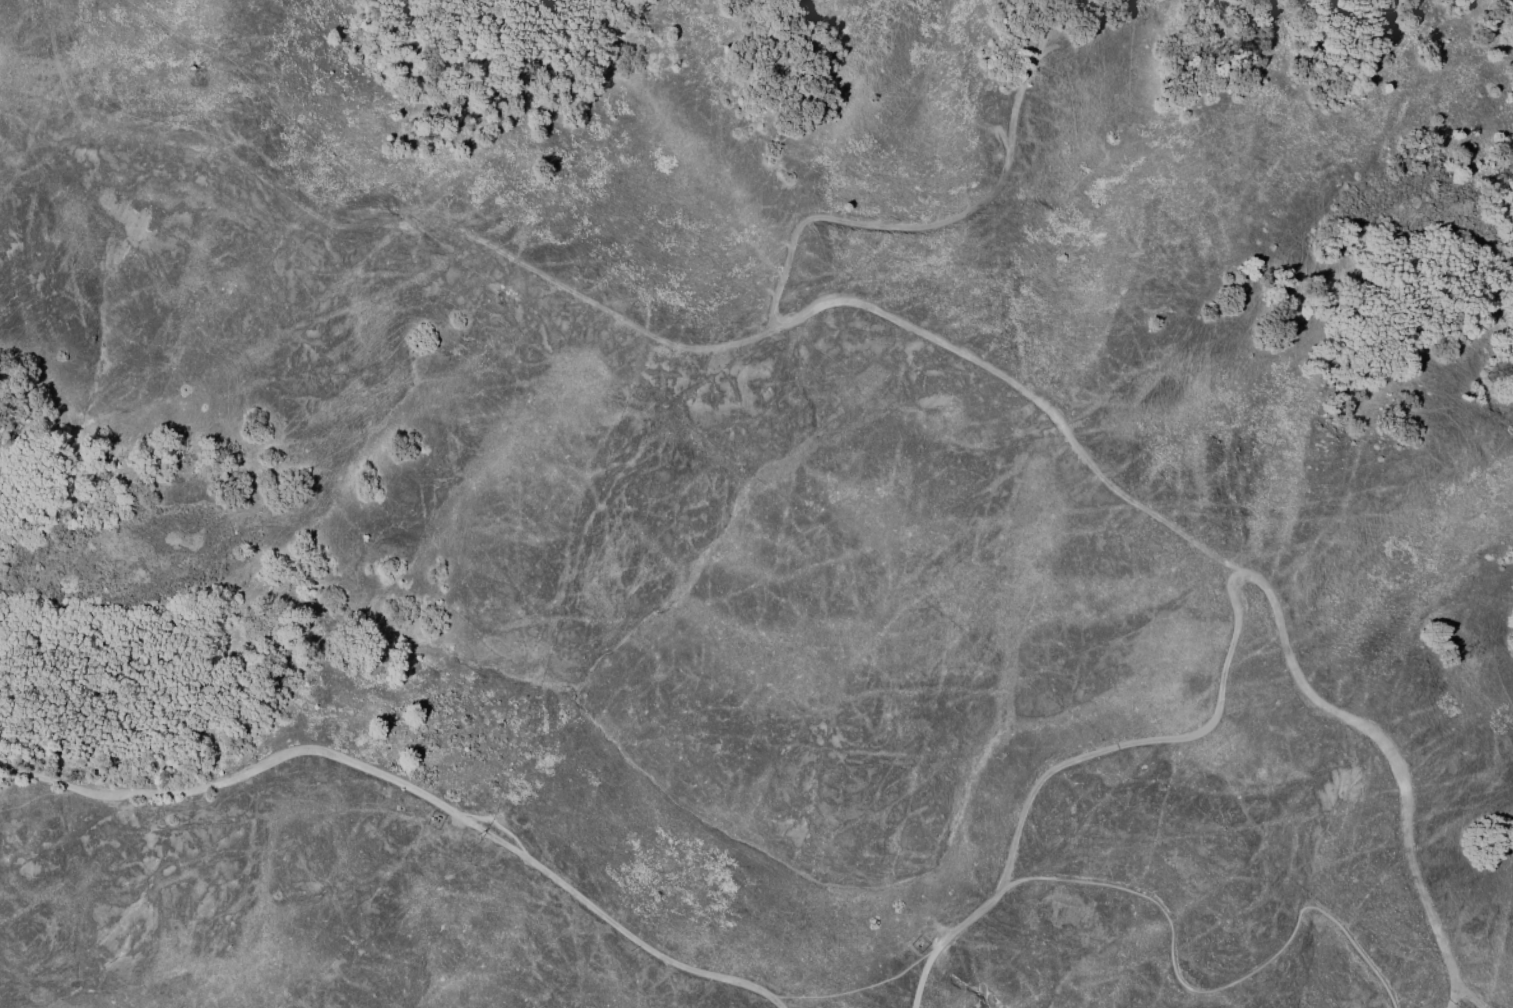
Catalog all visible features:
road: (796, 325)
road: (1262, 586)
road: (415, 793)
road: (949, 937)
road: (1209, 988)
road: (1455, 999)
road: (1468, 999)

